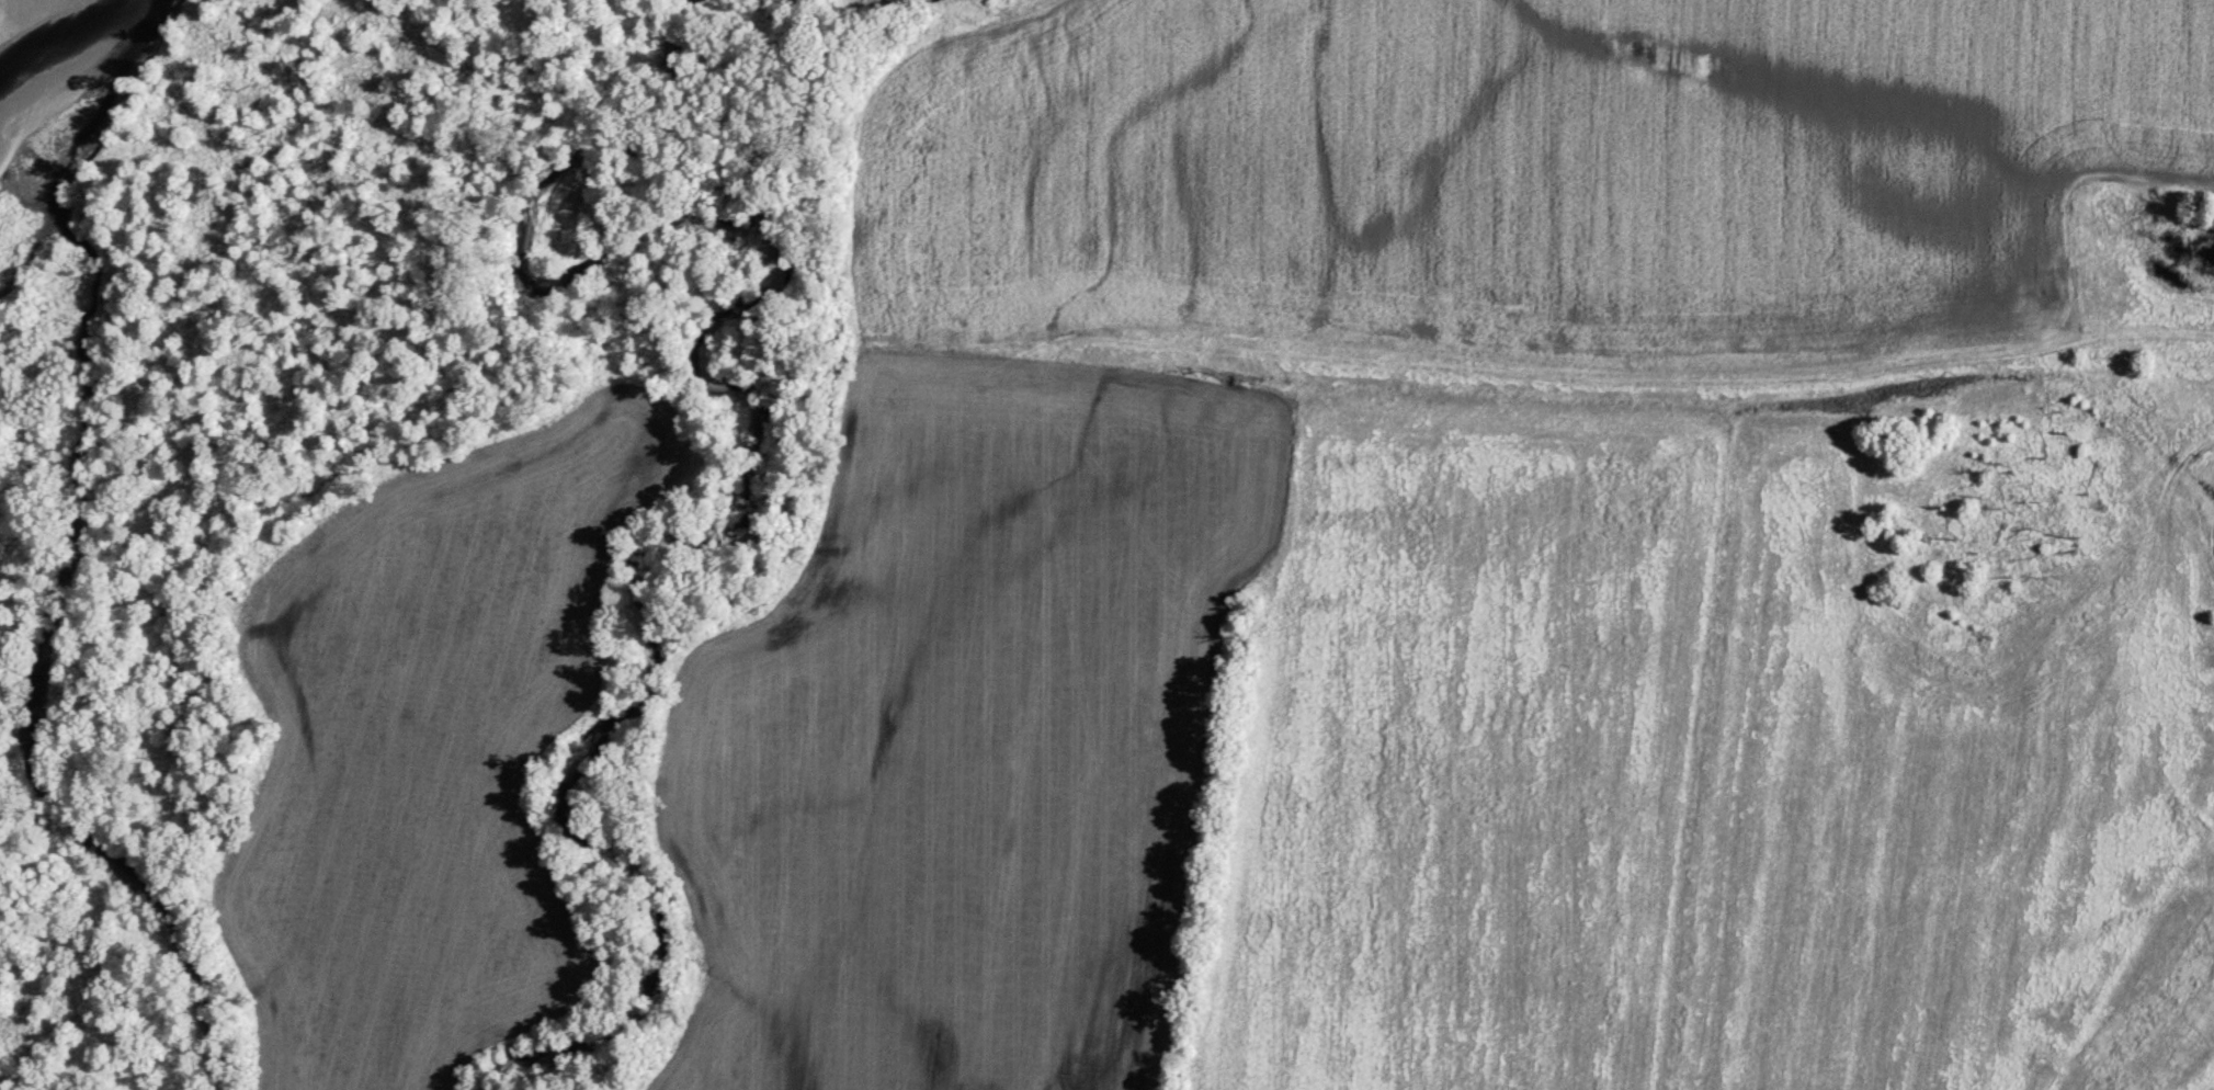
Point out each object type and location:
river: (78, 240)

